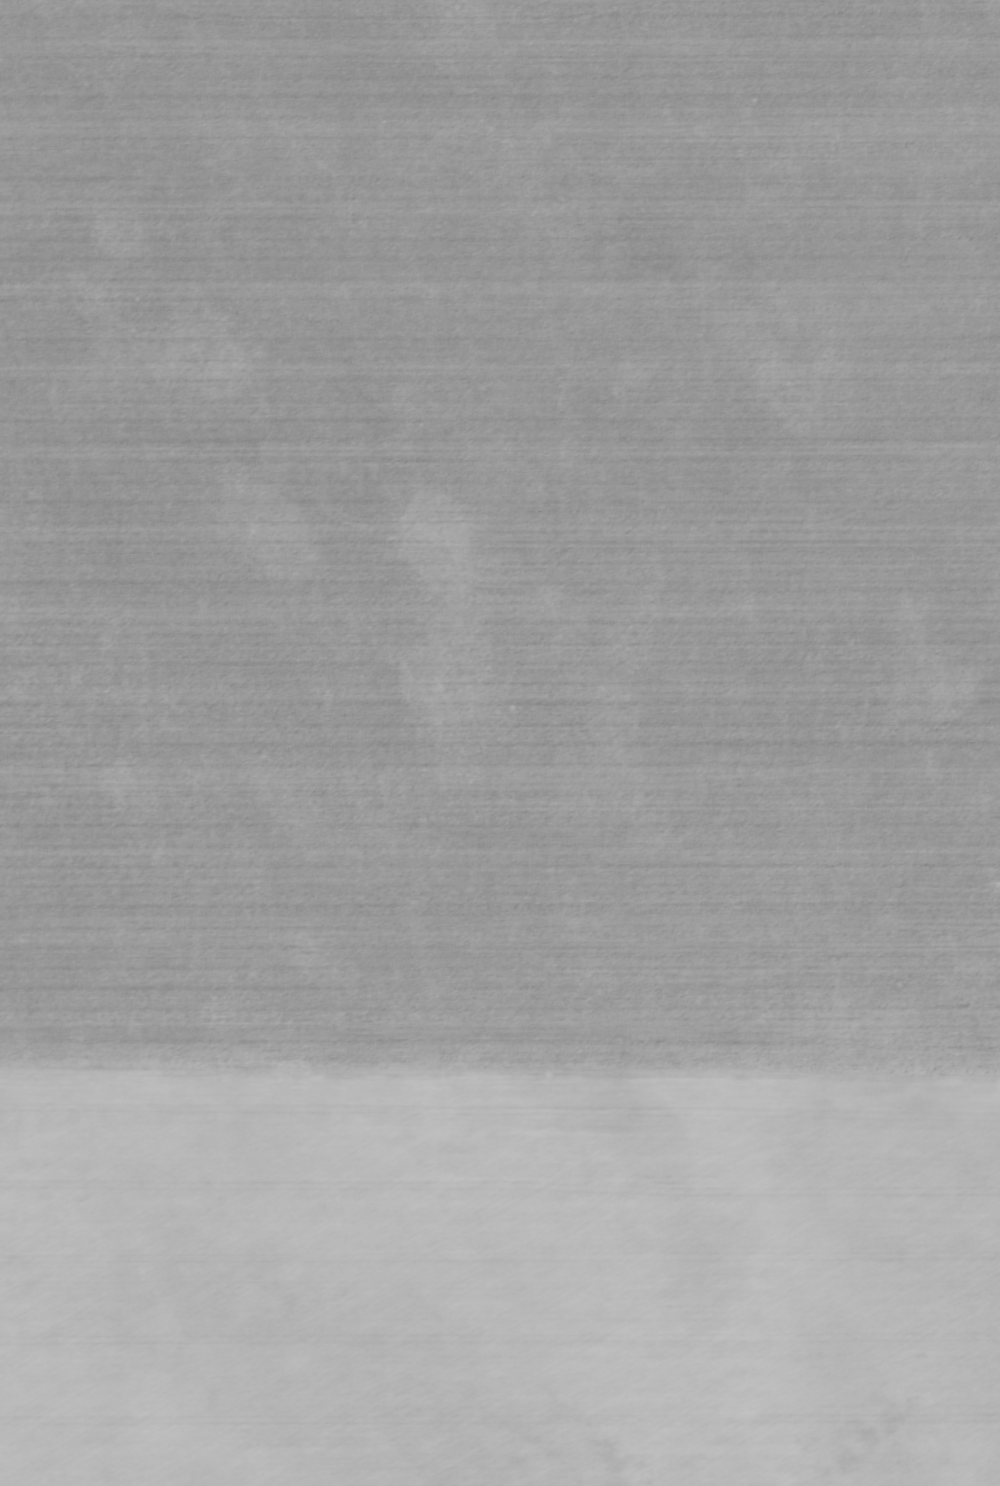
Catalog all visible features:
crop: (500, 743)

